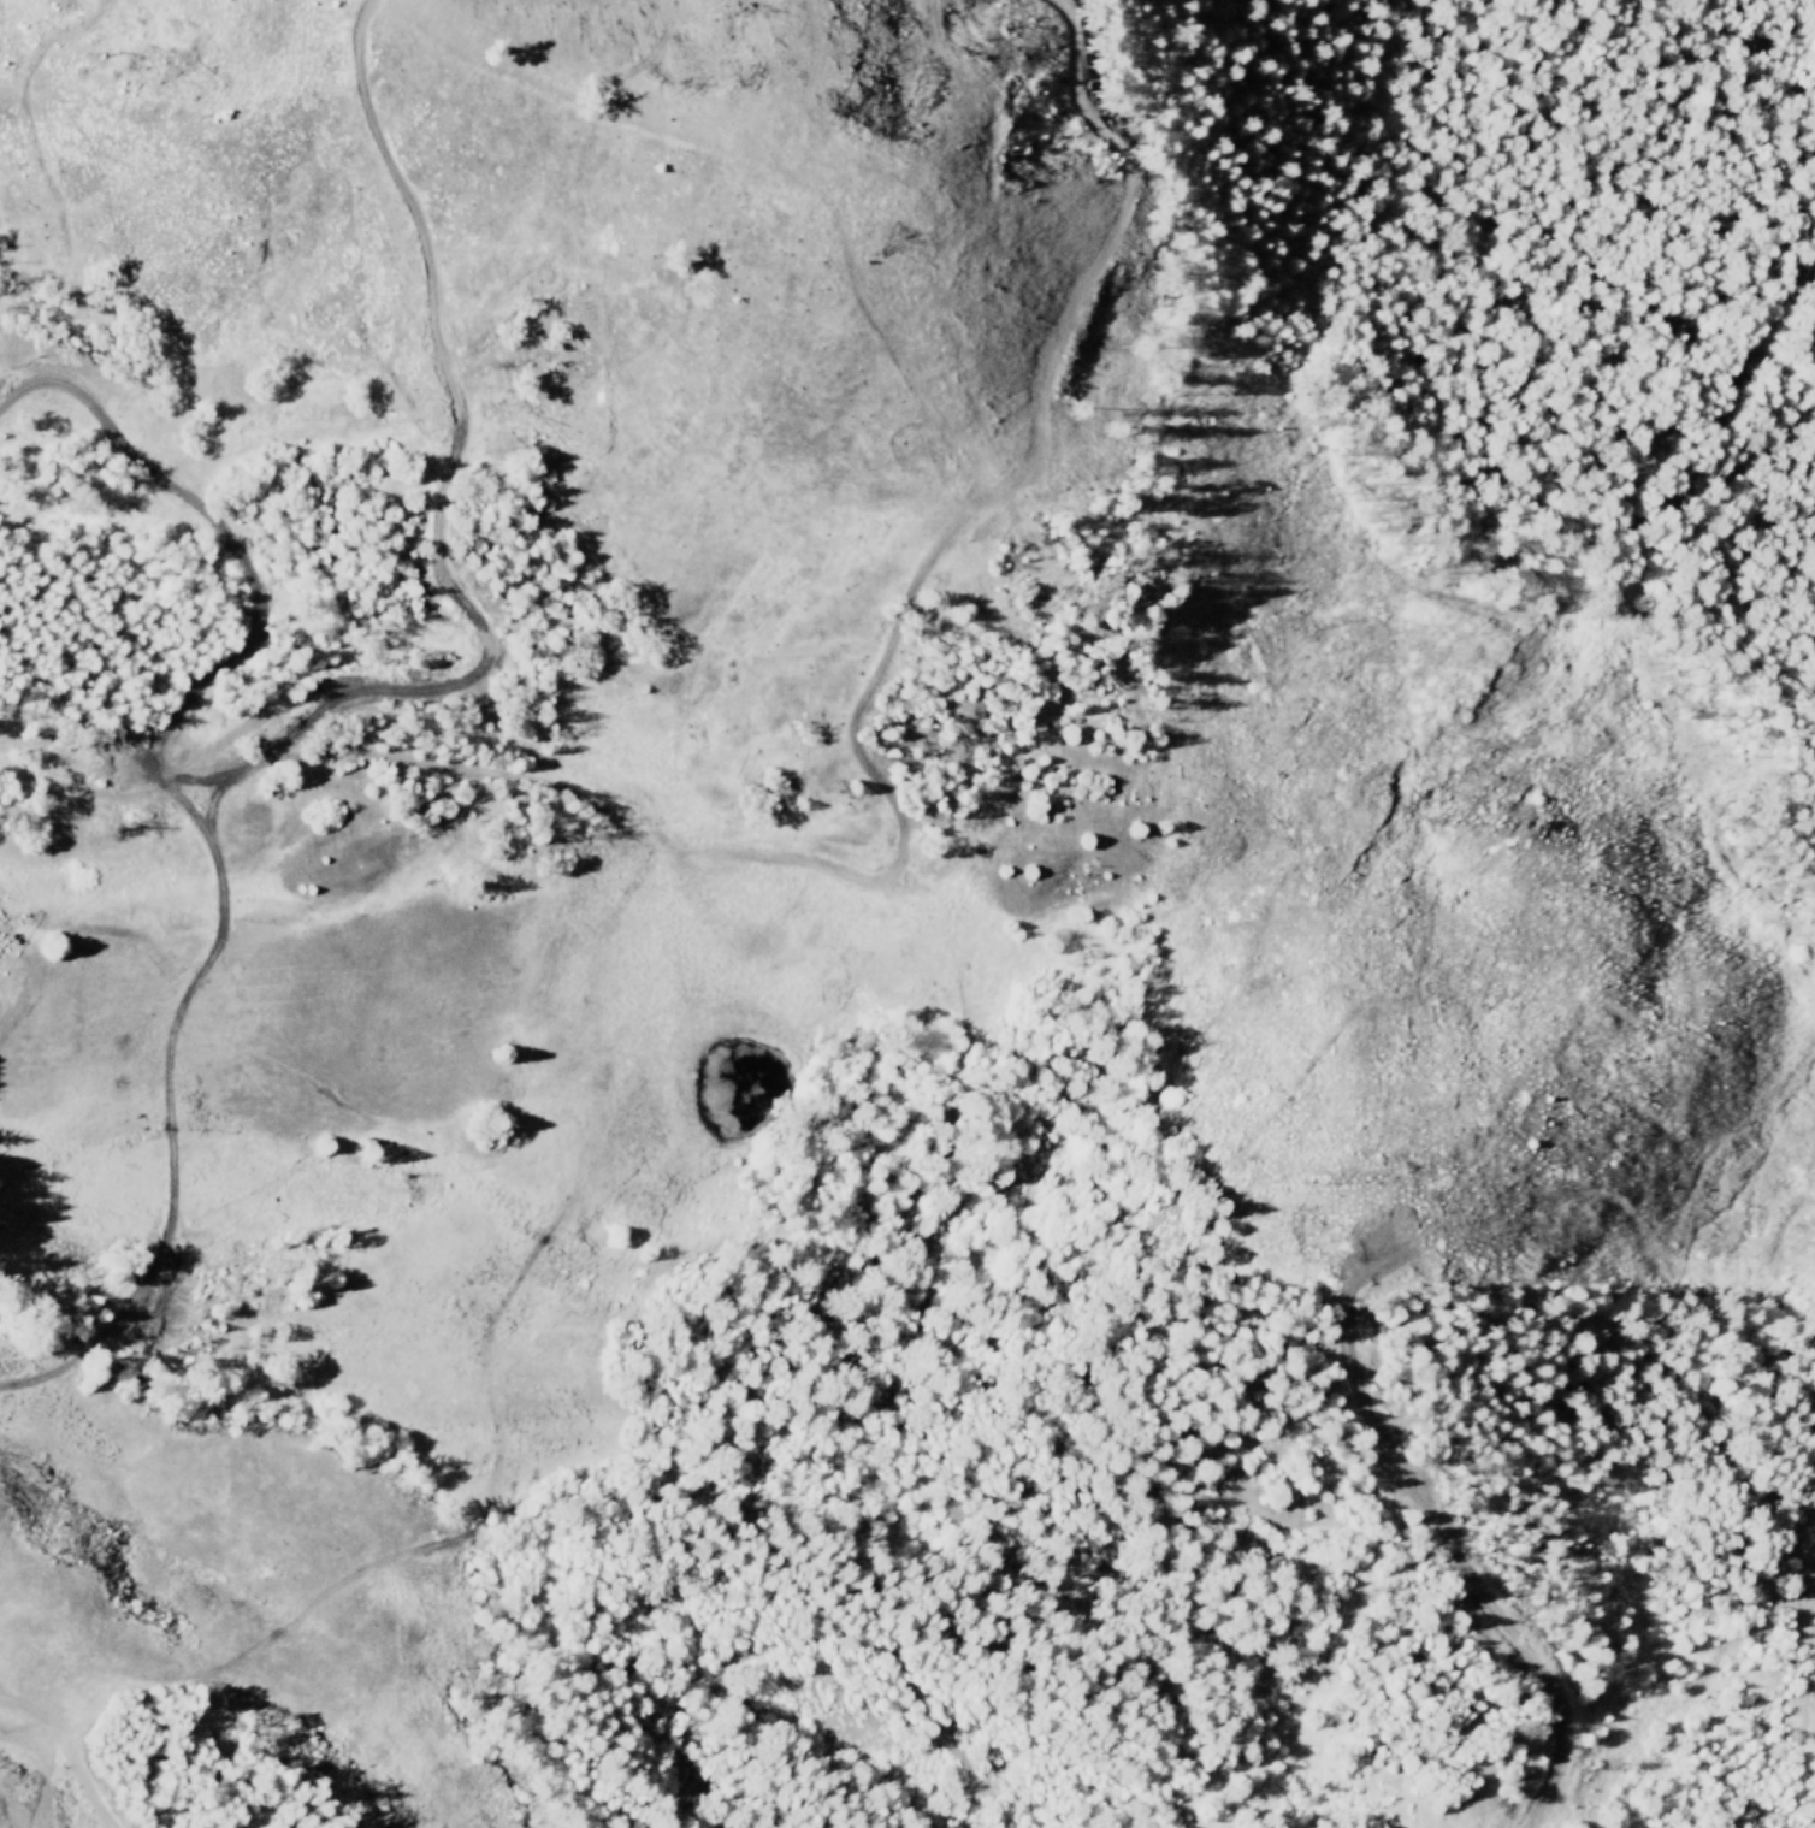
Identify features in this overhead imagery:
road: (1785, 282)

